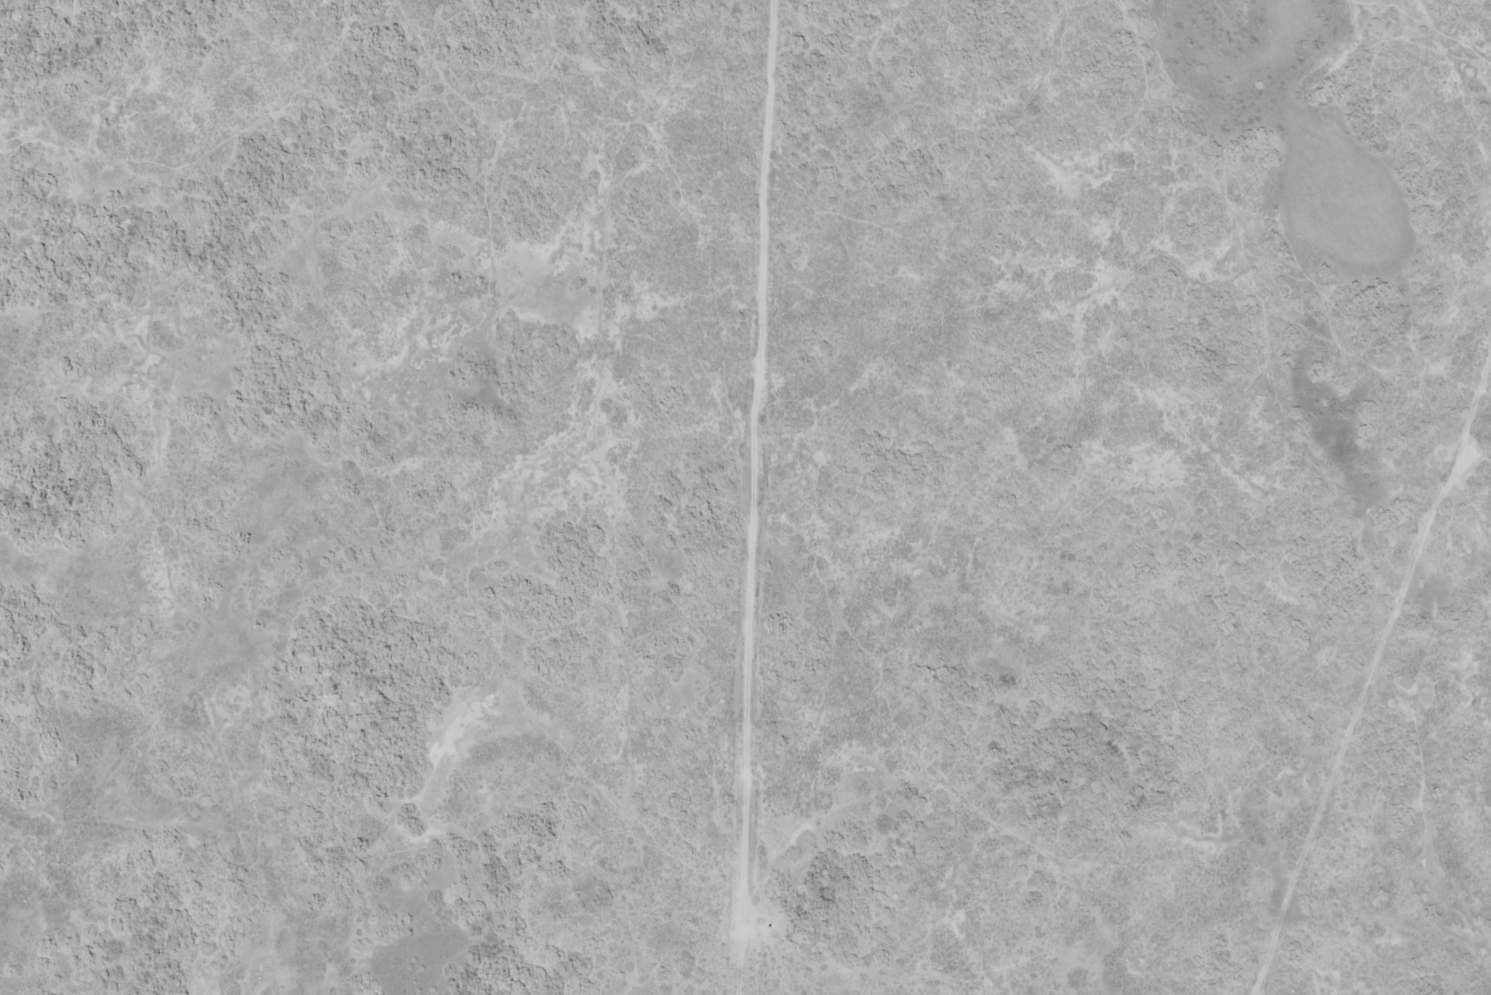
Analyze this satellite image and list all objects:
road: (752, 497)

